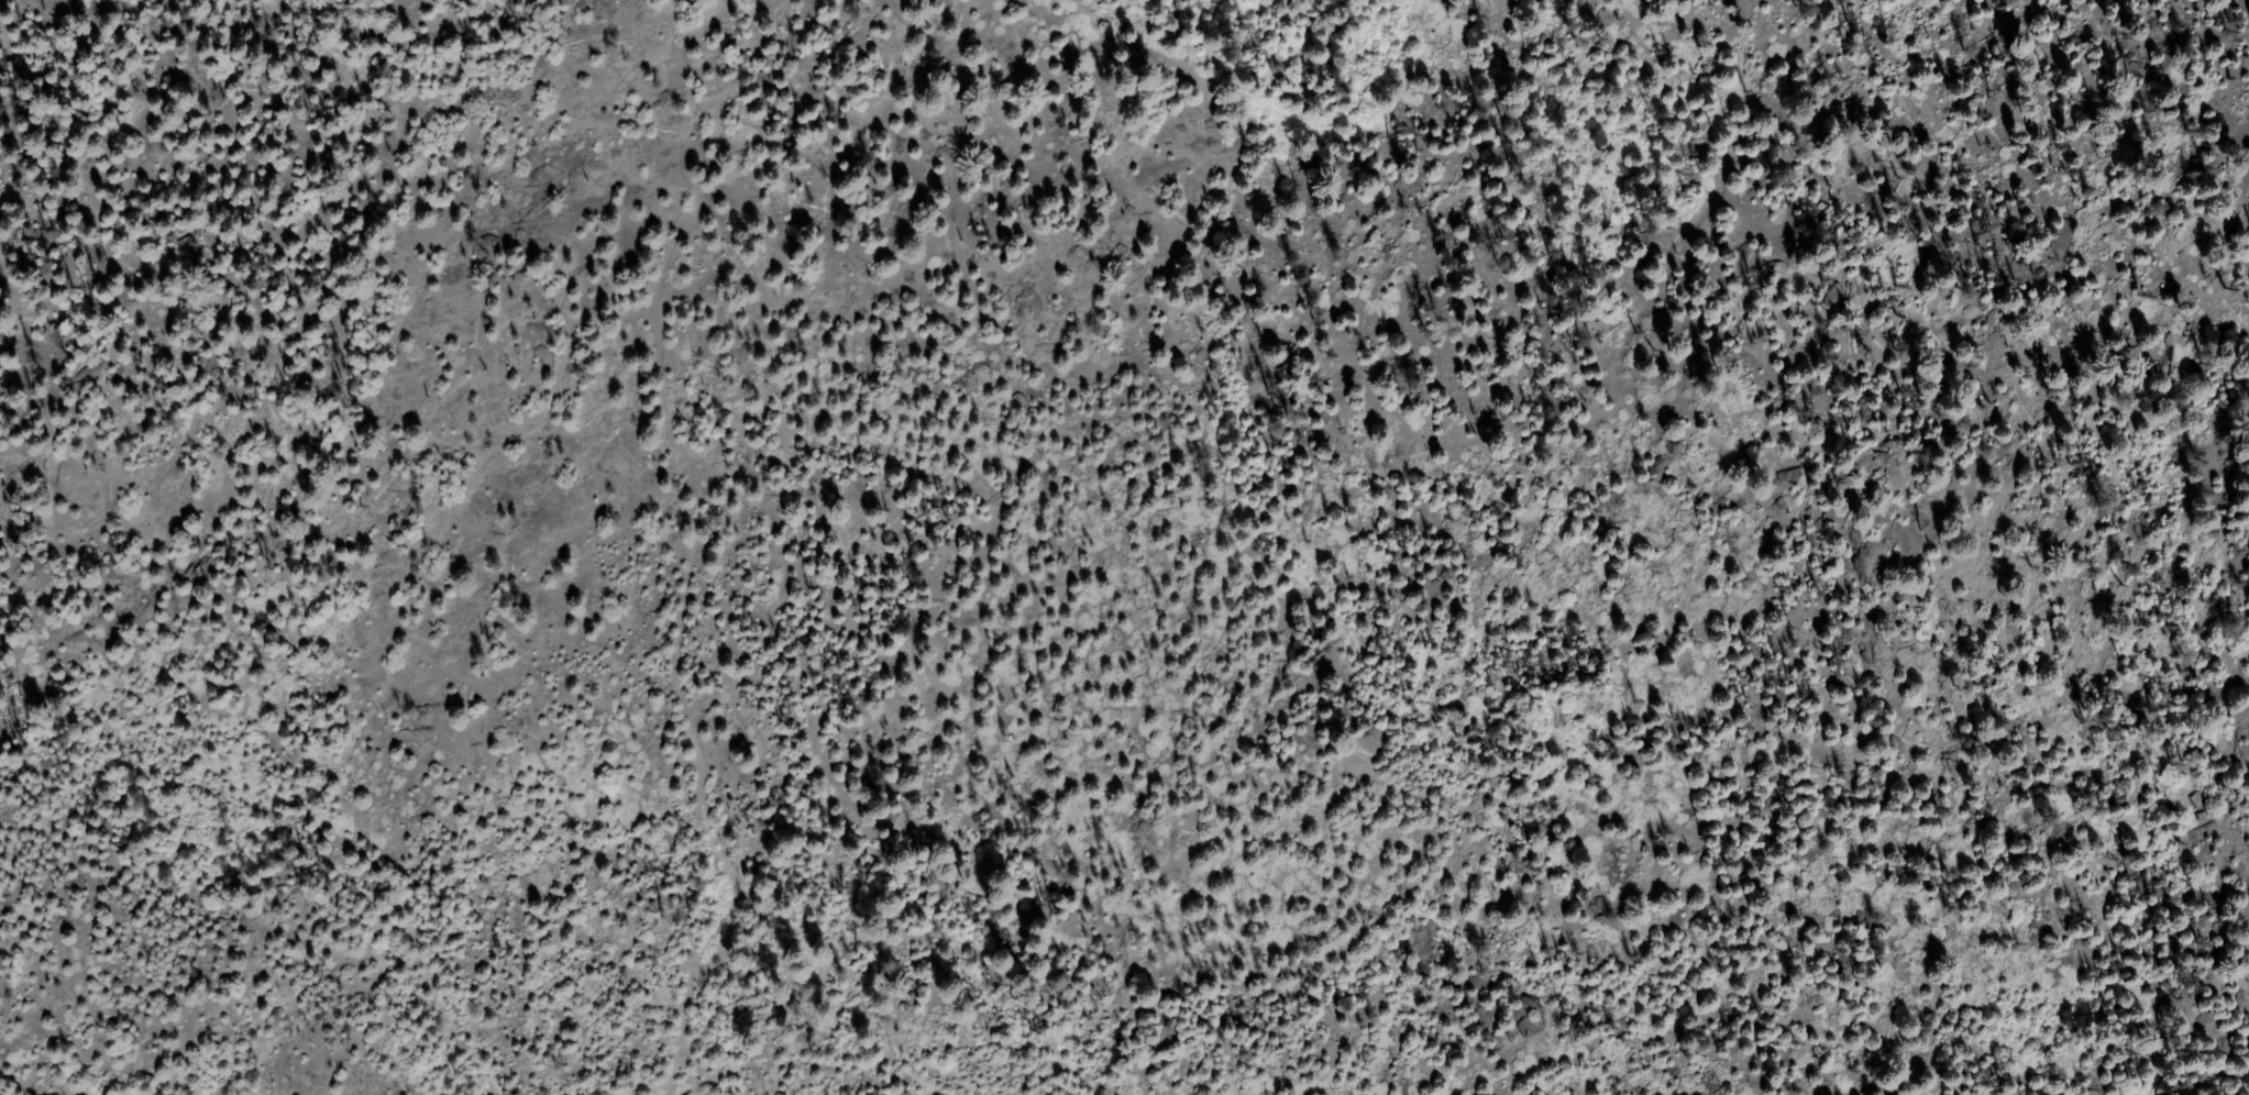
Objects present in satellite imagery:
building: (2055, 931)

